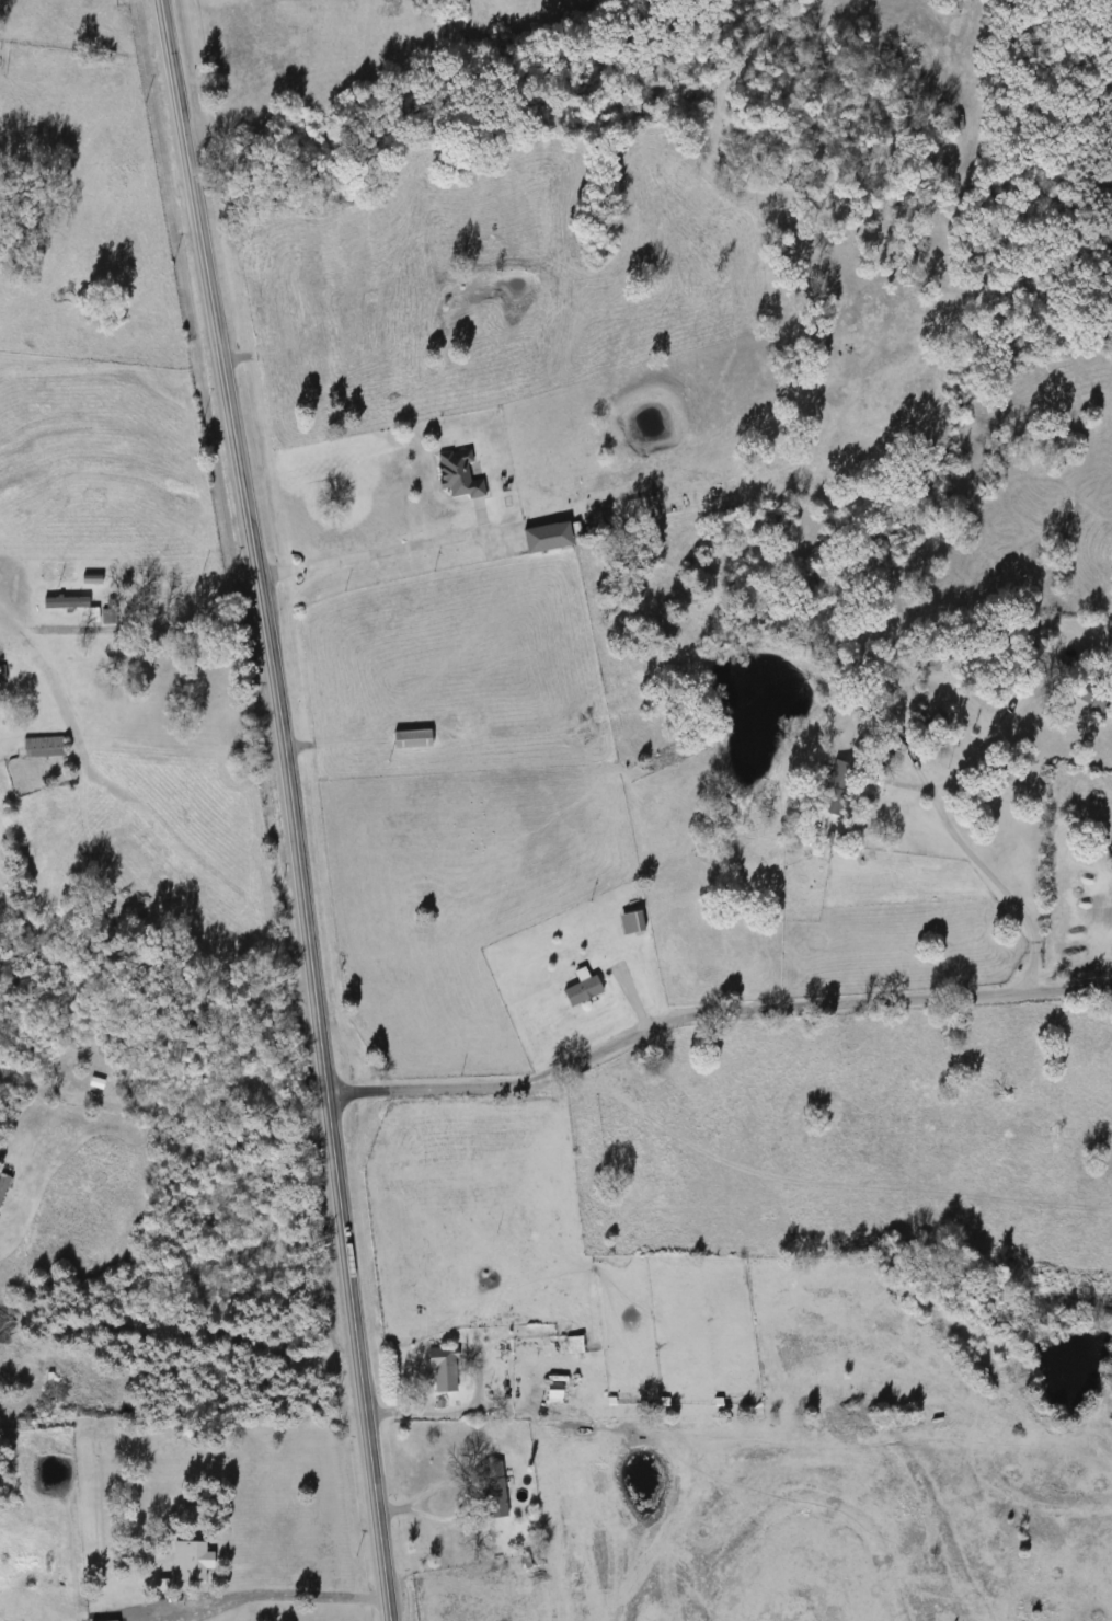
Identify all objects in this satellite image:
road: (376, 552)
road: (172, 623)
building: (153, 674)
building: (414, 739)
building: (45, 747)
road: (291, 807)
road: (960, 848)
road: (1022, 966)
building: (577, 989)
road: (712, 1013)
park: (941, 1026)
building: (569, 1344)
building: (443, 1378)
building: (548, 1392)
road: (437, 1413)
building: (490, 1487)
building: (195, 1561)
road: (272, 1593)

